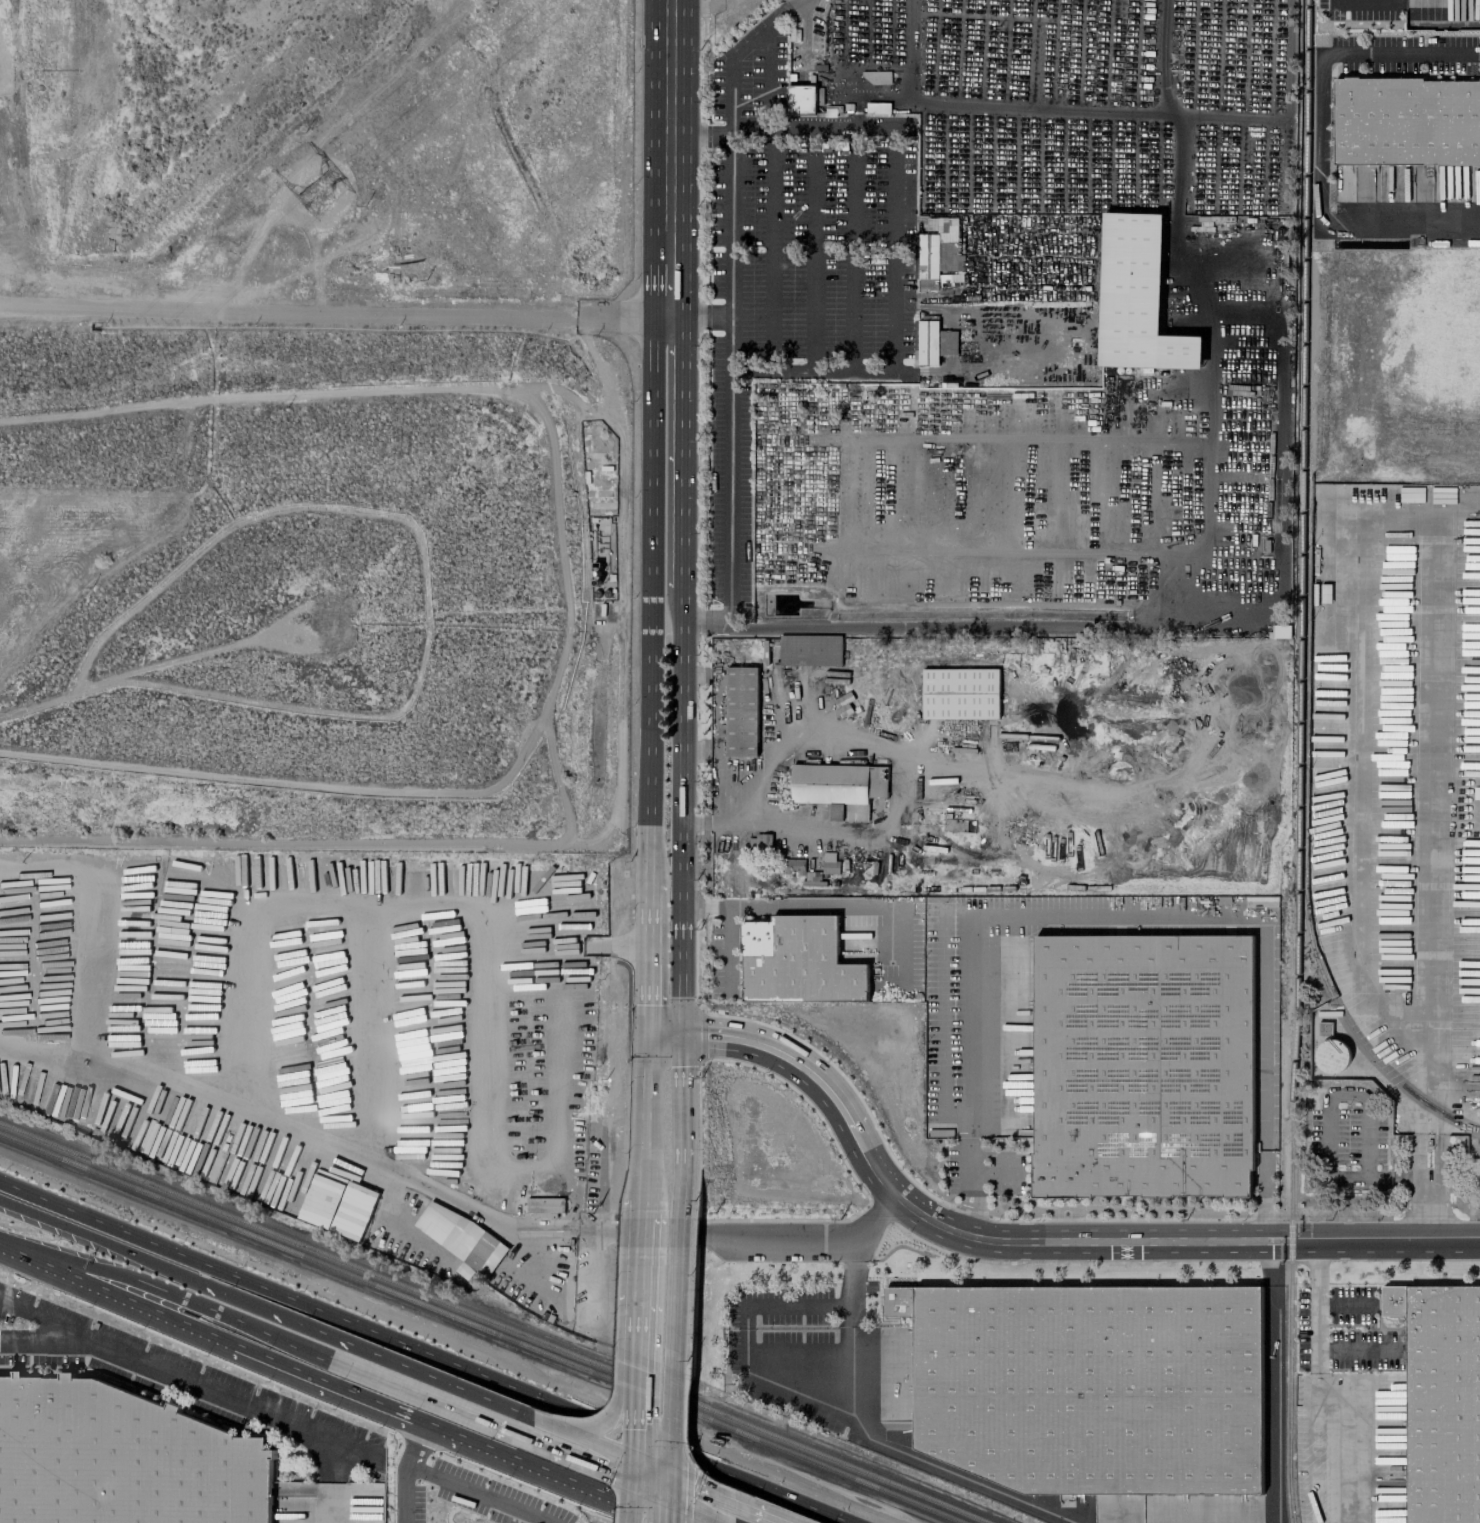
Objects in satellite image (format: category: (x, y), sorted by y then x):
road: (742, 51)
road: (1164, 58)
building: (801, 99)
road: (992, 105)
road: (1230, 116)
building: (1406, 121)
road: (655, 133)
road: (669, 138)
road: (1318, 139)
road: (683, 158)
power tower: (316, 198)
road: (894, 220)
building: (933, 250)
road: (655, 292)
building: (1136, 297)
road: (327, 308)
road: (669, 317)
building: (931, 342)
road: (894, 347)
landfill: (319, 424)
road: (682, 454)
road: (729, 491)
road: (653, 599)
road: (1281, 624)
building: (809, 650)
building: (960, 693)
building: (741, 711)
railway: (1299, 761)
road: (681, 811)
road: (1435, 858)
building: (829, 863)
road: (730, 908)
road: (856, 908)
road: (1120, 915)
road: (726, 952)
road: (651, 957)
building: (797, 961)
railway: (1347, 1025)
traffic signals: (651, 1032)
road: (666, 1032)
road: (650, 1054)
building: (1143, 1065)
road: (648, 1105)
building: (1469, 1112)
road: (679, 1135)
road: (1436, 1174)
road: (646, 1184)
building: (544, 1206)
road: (518, 1227)
road: (1040, 1230)
road: (812, 1235)
building: (460, 1239)
railway: (308, 1248)
road: (644, 1257)
railway: (307, 1258)
road: (160, 1267)
road: (676, 1279)
road: (167, 1289)
road: (642, 1314)
road: (215, 1331)
road: (2, 1342)
road: (49, 1343)
road: (404, 1346)
road: (675, 1348)
road: (641, 1352)
road: (849, 1353)
road: (417, 1372)
road: (1272, 1379)
road: (188, 1380)
building: (1092, 1387)
road: (813, 1388)
road: (1326, 1390)
road: (410, 1391)
road: (626, 1394)
building: (1440, 1399)
road: (639, 1401)
road: (554, 1417)
road: (673, 1417)
road: (574, 1435)
railway: (802, 1447)
railway: (789, 1452)
road: (564, 1454)
road: (637, 1454)
building: (122, 1461)
road: (330, 1461)
traffic signals: (637, 1461)
road: (672, 1466)
road: (405, 1467)
road: (654, 1467)
road: (558, 1471)
road: (637, 1472)
traffic signals: (672, 1474)
traffic signals: (637, 1484)
road: (672, 1485)
building: (980, 1486)
road: (637, 1487)
road: (654, 1490)
road: (478, 1494)
traffic signals: (672, 1497)
road: (732, 1499)
road: (671, 1500)
road: (329, 1504)
road: (636, 1507)
road: (704, 1510)
road: (670, 1513)
road: (826, 1516)

